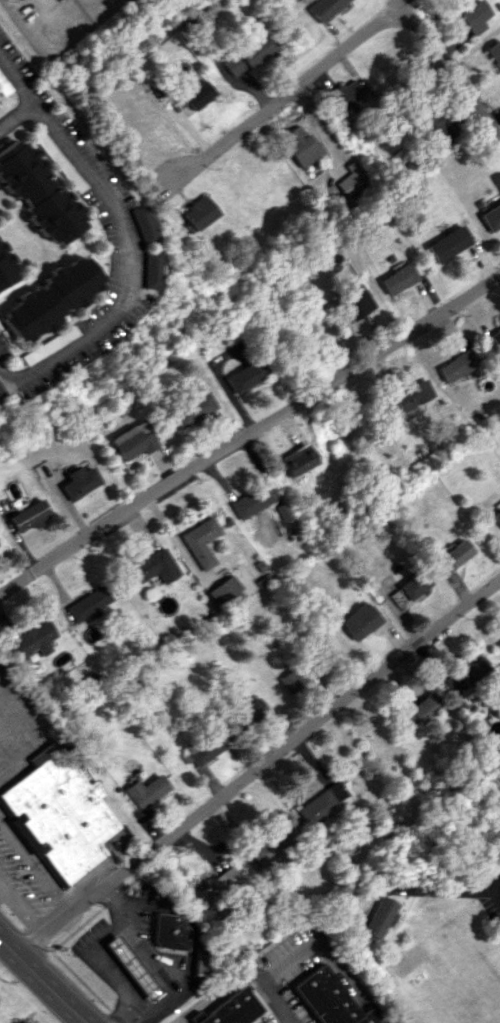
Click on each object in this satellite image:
building: (321, 8)
building: (209, 12)
building: (475, 16)
building: (494, 52)
building: (244, 55)
road: (454, 68)
road: (305, 83)
building: (344, 94)
building: (196, 95)
road: (17, 115)
building: (434, 130)
building: (299, 145)
building: (349, 179)
building: (37, 192)
building: (197, 211)
building: (491, 217)
building: (140, 224)
road: (122, 237)
building: (448, 243)
building: (146, 268)
building: (3, 273)
building: (396, 278)
building: (46, 298)
building: (355, 304)
building: (496, 337)
building: (45, 344)
building: (456, 365)
building: (243, 375)
building: (1, 394)
building: (413, 395)
building: (191, 409)
road: (250, 436)
building: (132, 441)
building: (295, 460)
building: (79, 481)
building: (248, 501)
building: (280, 511)
building: (496, 513)
building: (27, 515)
building: (200, 542)
building: (457, 553)
building: (151, 566)
building: (414, 584)
building: (223, 589)
building: (87, 604)
building: (358, 620)
building: (32, 640)
building: (498, 643)
building: (474, 671)
building: (290, 681)
building: (425, 707)
road: (24, 709)
building: (248, 711)
building: (493, 732)
building: (204, 749)
road: (258, 771)
building: (145, 791)
building: (322, 802)
building: (58, 813)
road: (35, 869)
building: (217, 885)
road: (1, 886)
road: (450, 893)
road: (21, 908)
road: (133, 909)
building: (377, 917)
building: (170, 931)
road: (317, 944)
building: (203, 963)
road: (160, 964)
building: (132, 967)
gas station: (133, 967)
road: (239, 977)
road: (41, 981)
building: (333, 999)
building: (232, 1009)
road: (295, 1020)
road: (82, 1022)

